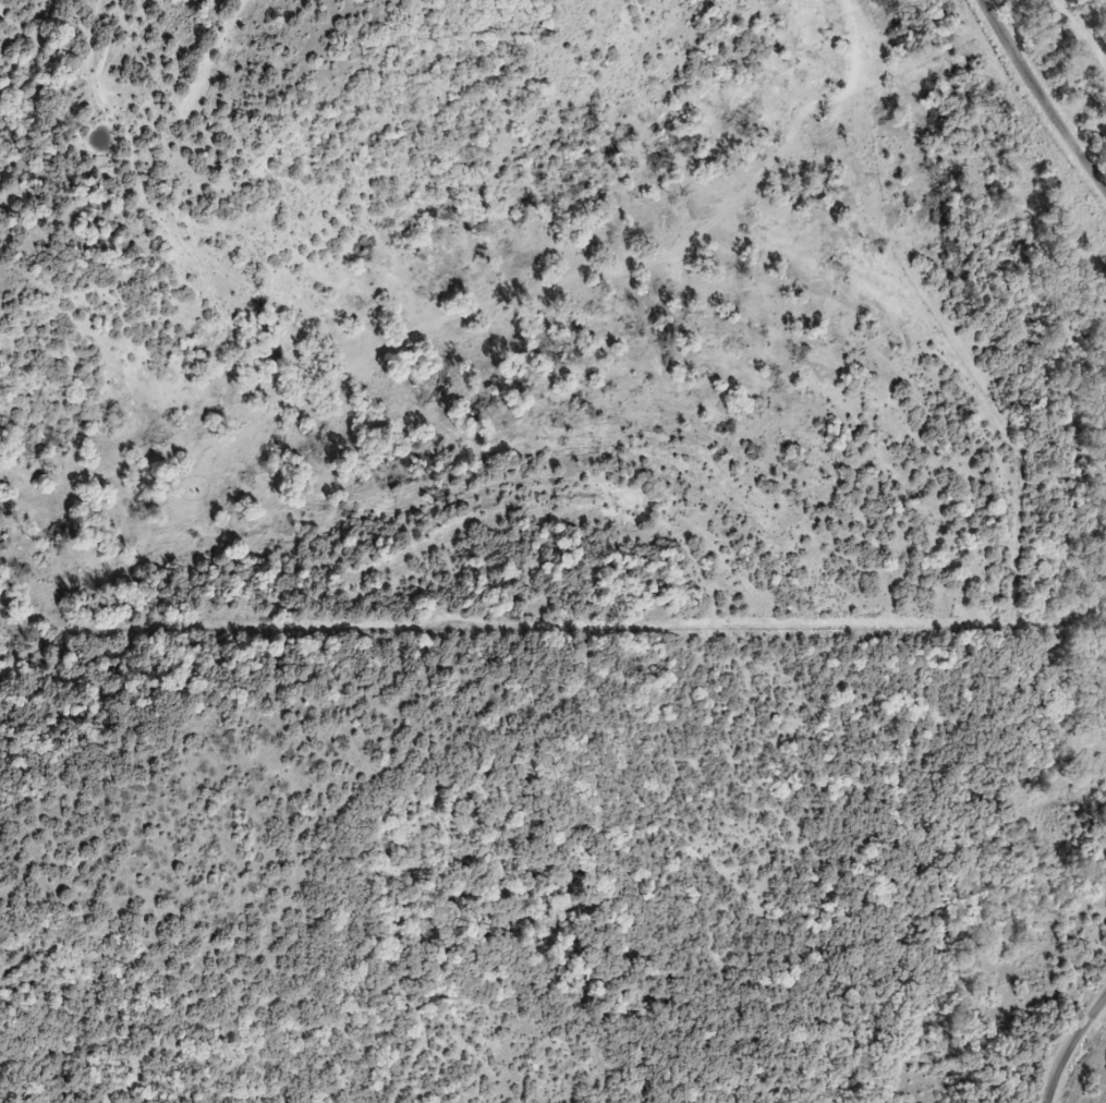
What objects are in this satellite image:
road: (1040, 97)
road: (1071, 1045)

